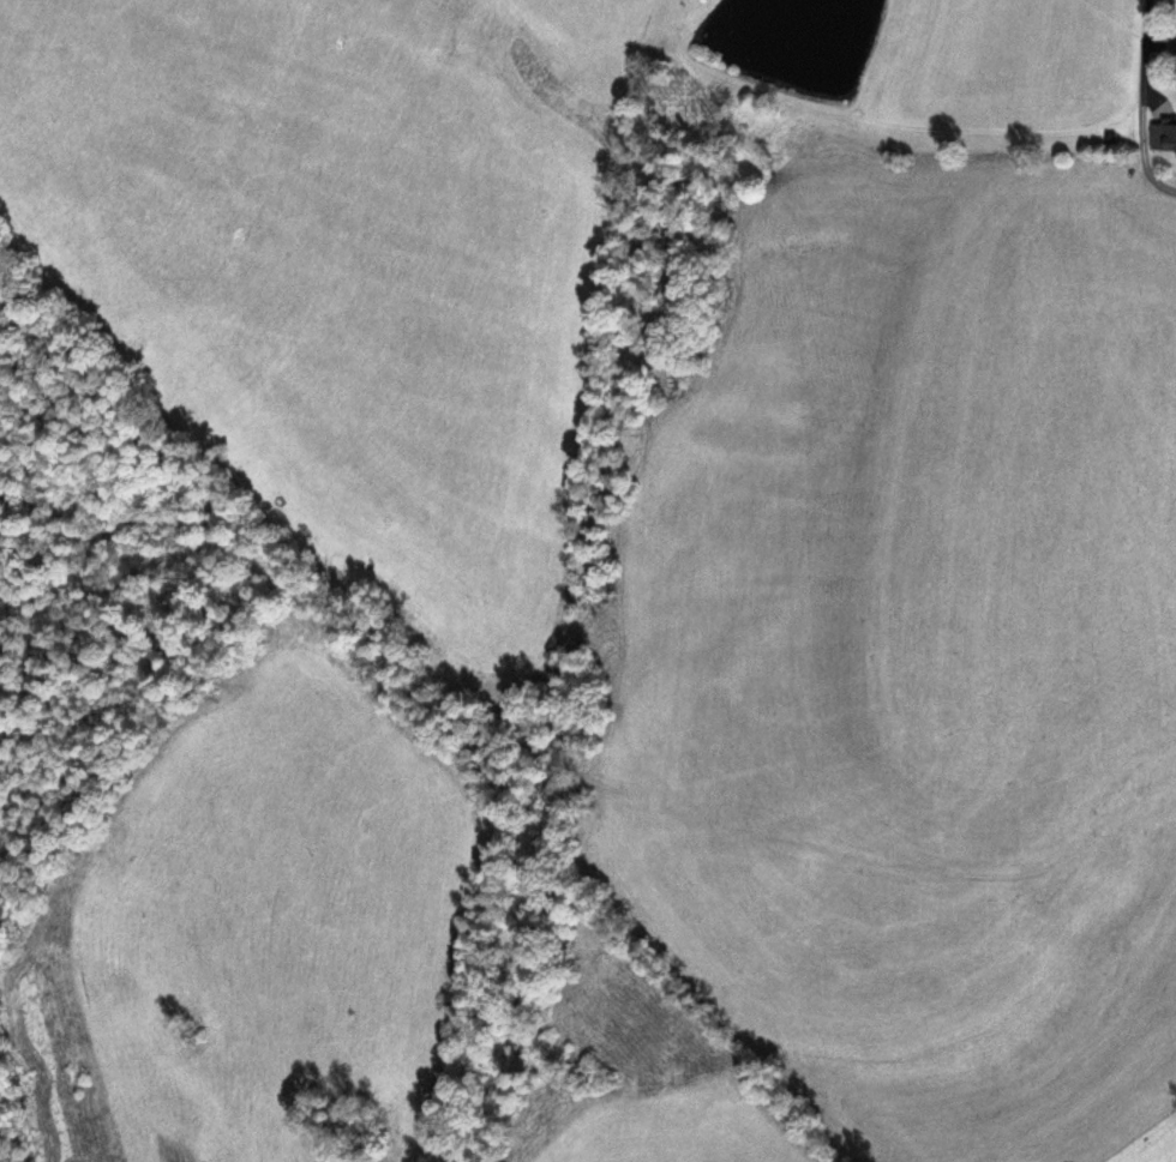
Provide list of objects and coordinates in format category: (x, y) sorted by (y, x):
building: (1163, 136)

